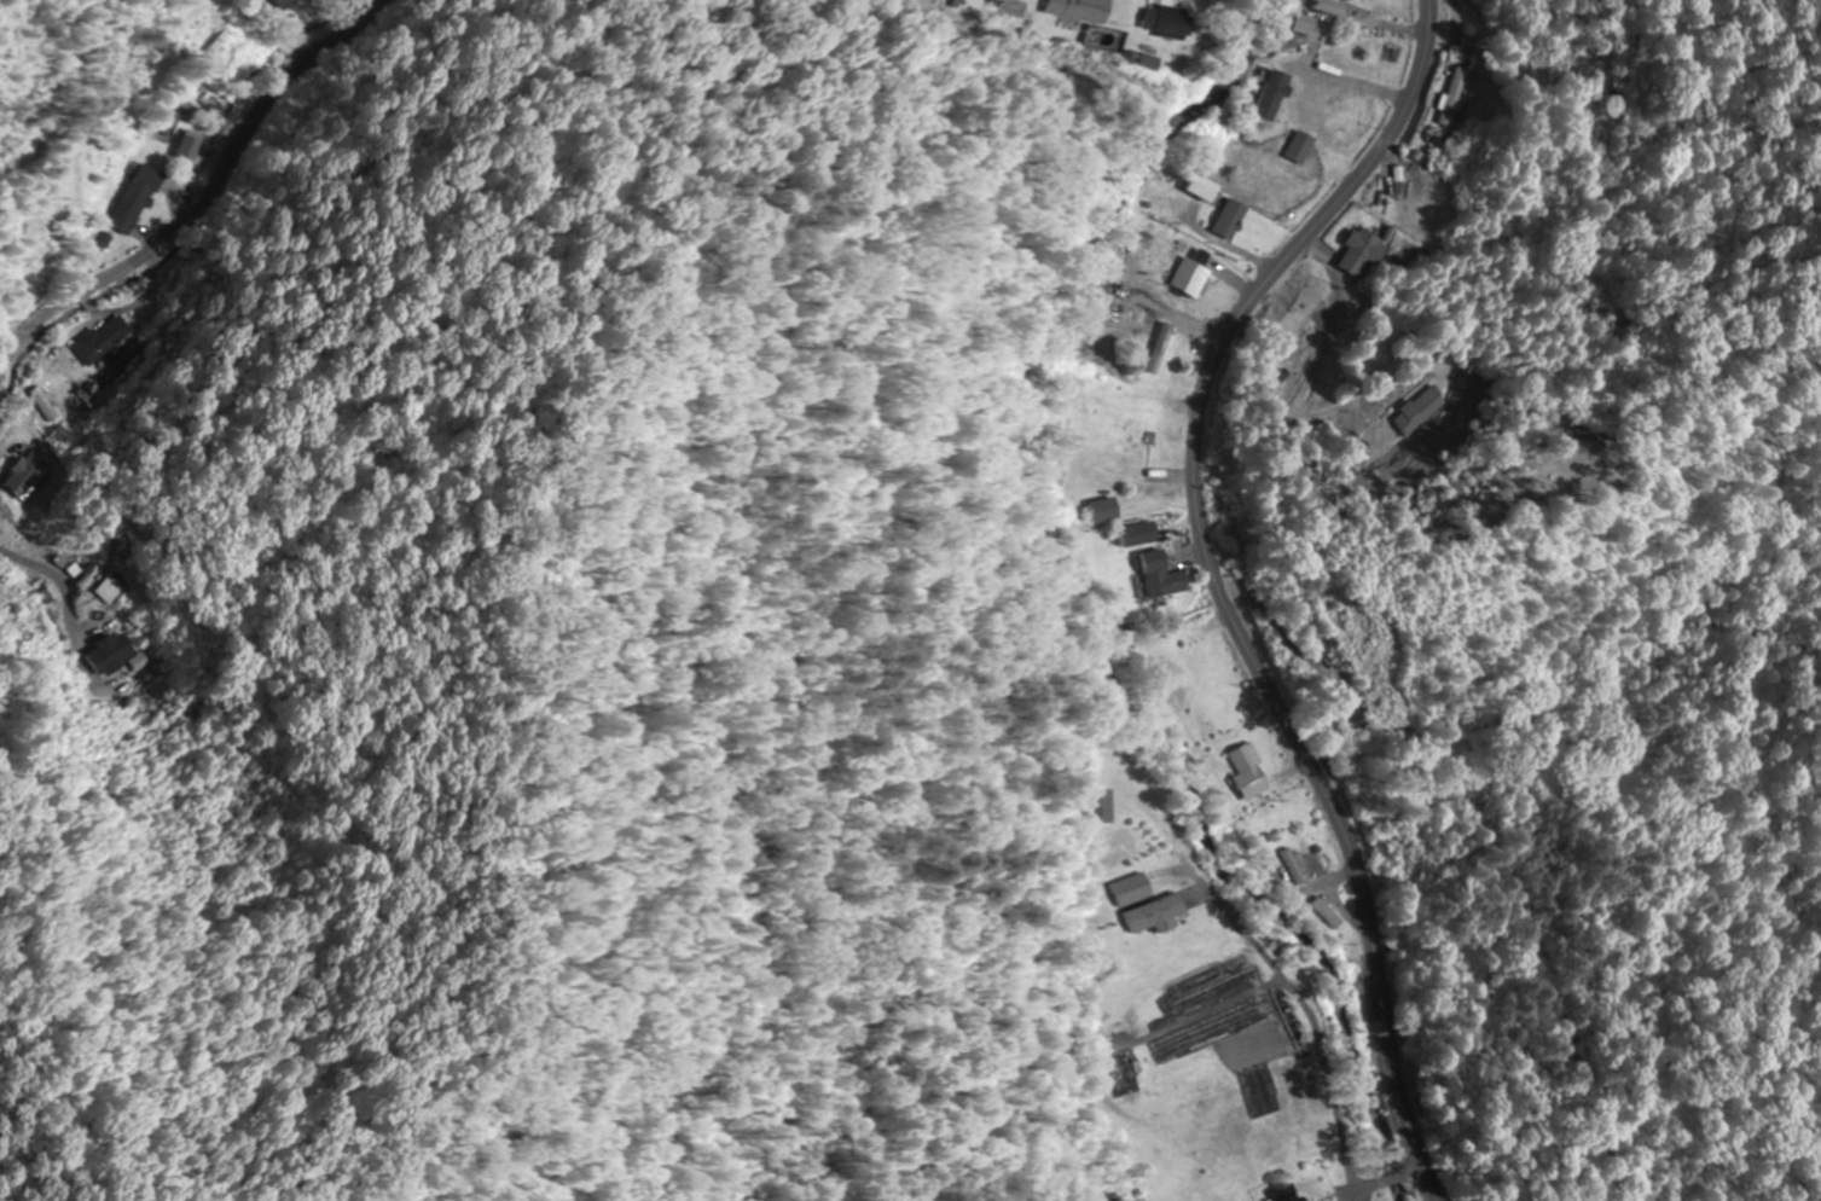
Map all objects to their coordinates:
building: (291, 5)
road: (1426, 6)
building: (1321, 7)
building: (1084, 10)
building: (1168, 19)
road: (313, 23)
building: (1299, 24)
building: (214, 57)
building: (1263, 95)
building: (1460, 97)
building: (1612, 105)
building: (192, 147)
building: (1298, 147)
building: (141, 199)
road: (204, 204)
building: (1226, 219)
building: (1364, 251)
building: (1189, 275)
building: (104, 338)
building: (1162, 347)
building: (1414, 411)
building: (28, 472)
building: (1103, 510)
building: (1133, 534)
building: (1156, 576)
road: (1220, 585)
building: (121, 652)
building: (1330, 694)
building: (1247, 771)
building: (1446, 800)
building: (1292, 865)
building: (1141, 889)
building: (1164, 915)
building: (1135, 1074)
building: (1283, 1194)

